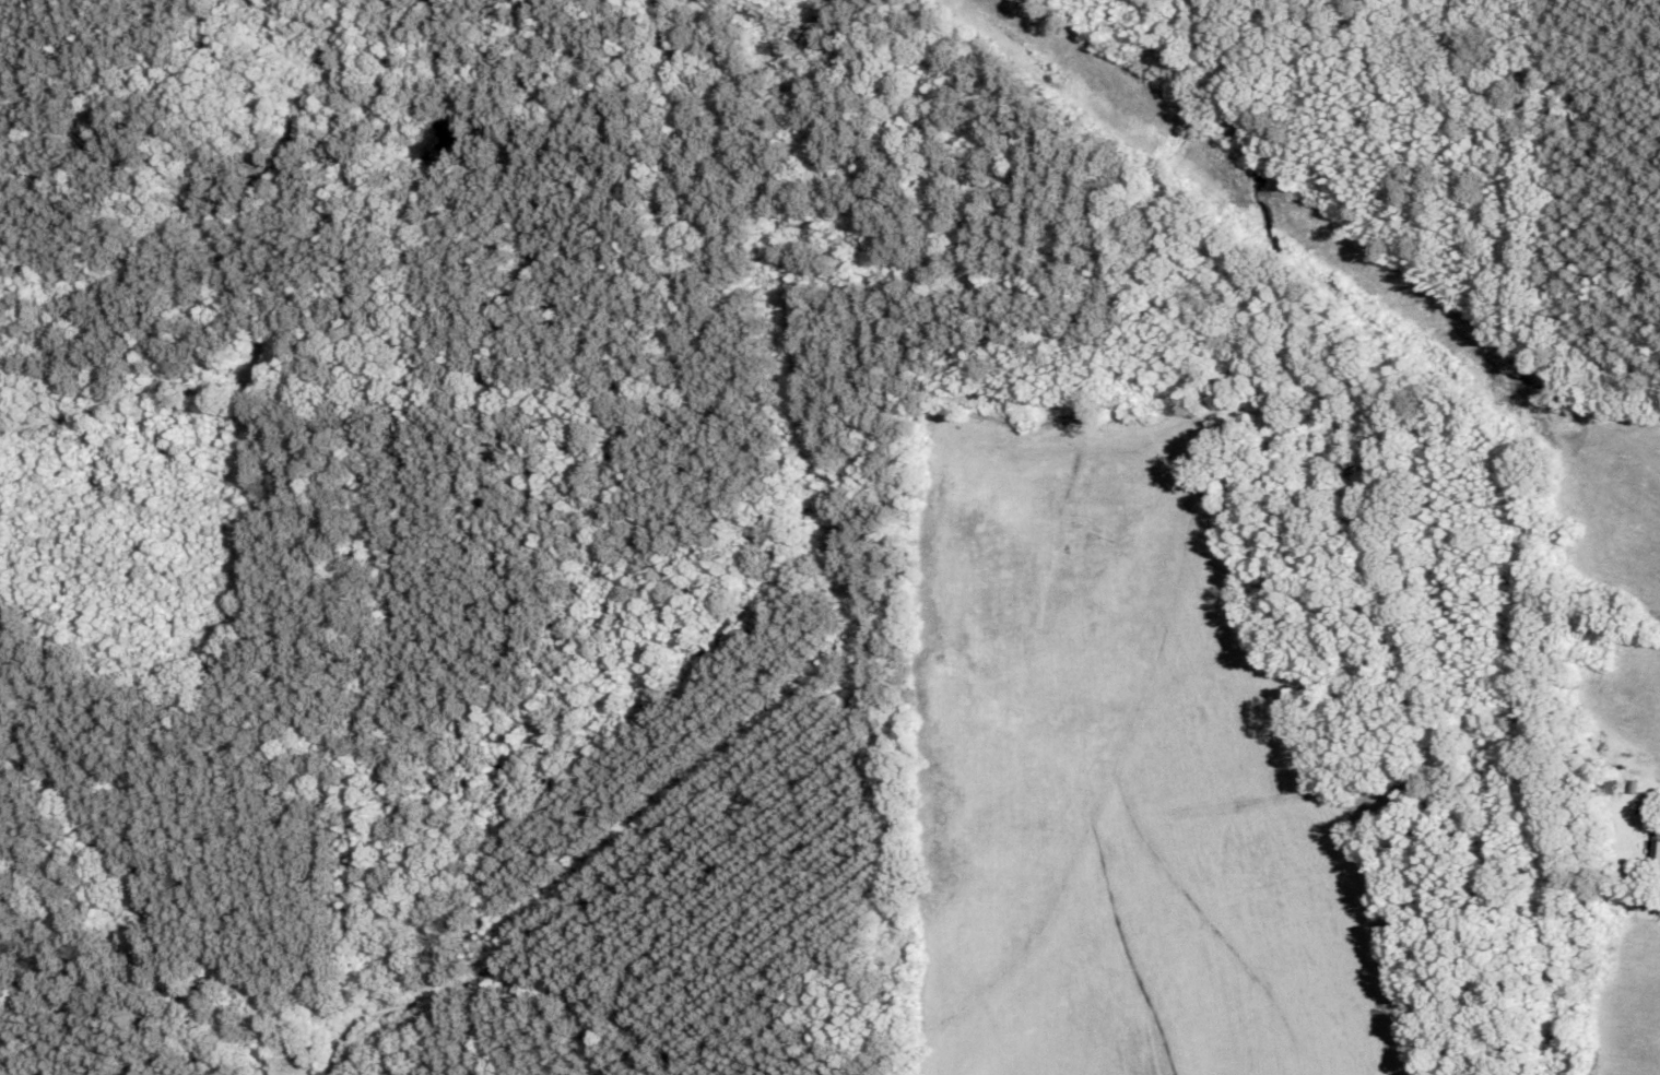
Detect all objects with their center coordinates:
building: (1655, 846)

